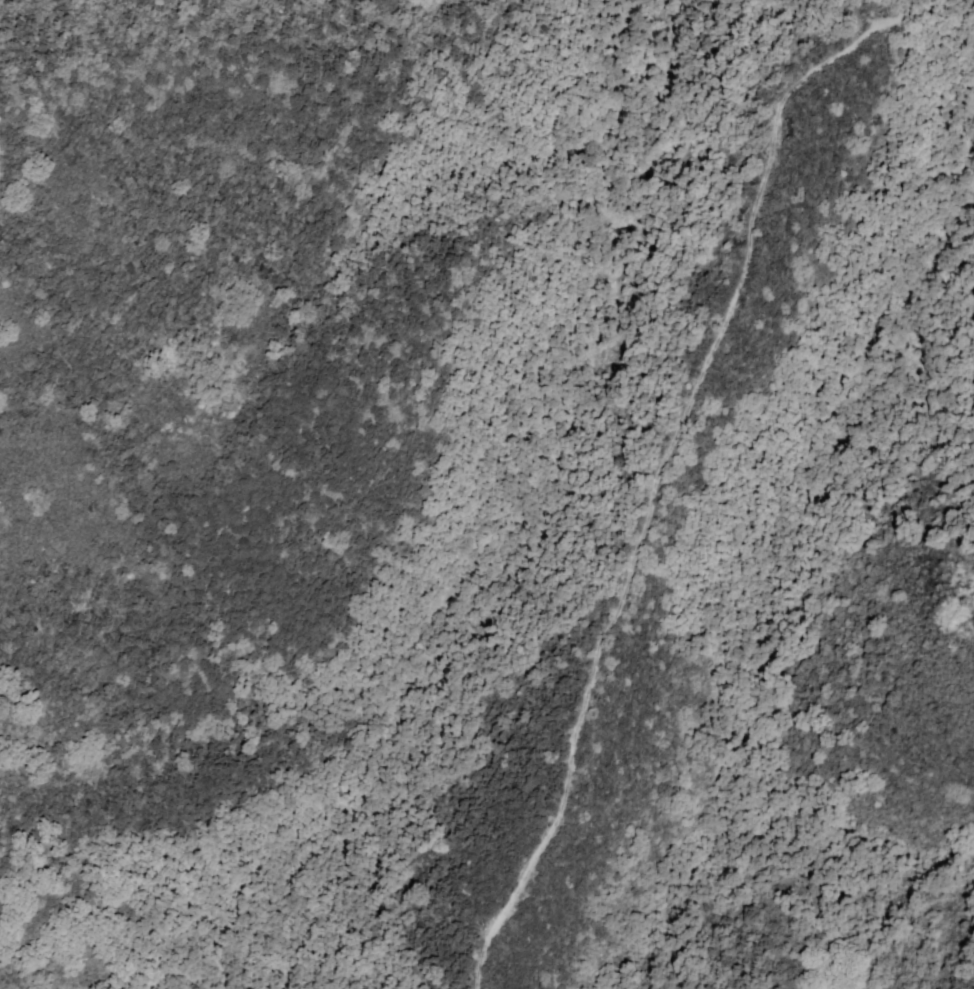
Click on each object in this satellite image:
road: (656, 480)

